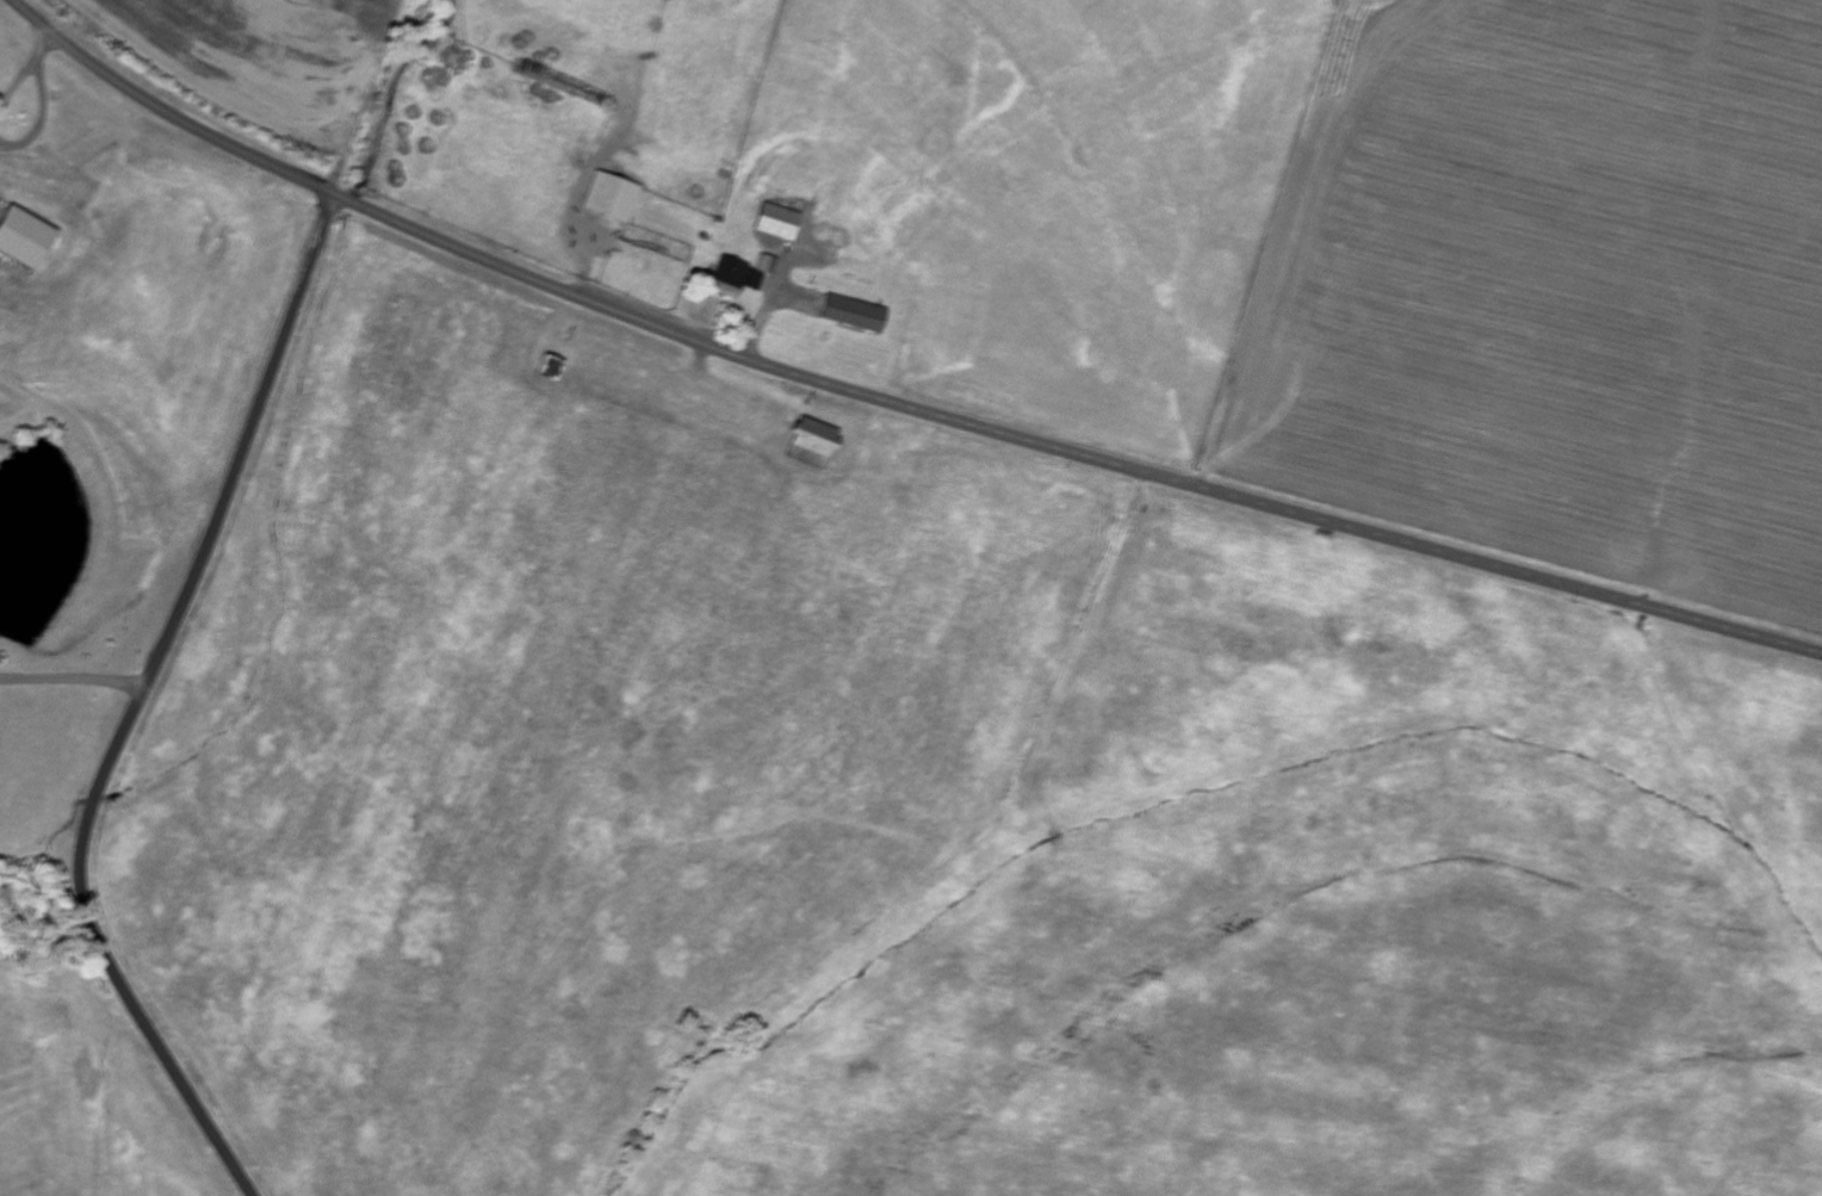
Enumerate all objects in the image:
building: (612, 199)
building: (776, 224)
building: (23, 240)
building: (767, 266)
building: (725, 280)
building: (851, 315)
building: (550, 368)
road: (886, 402)
building: (811, 445)
road: (135, 705)

